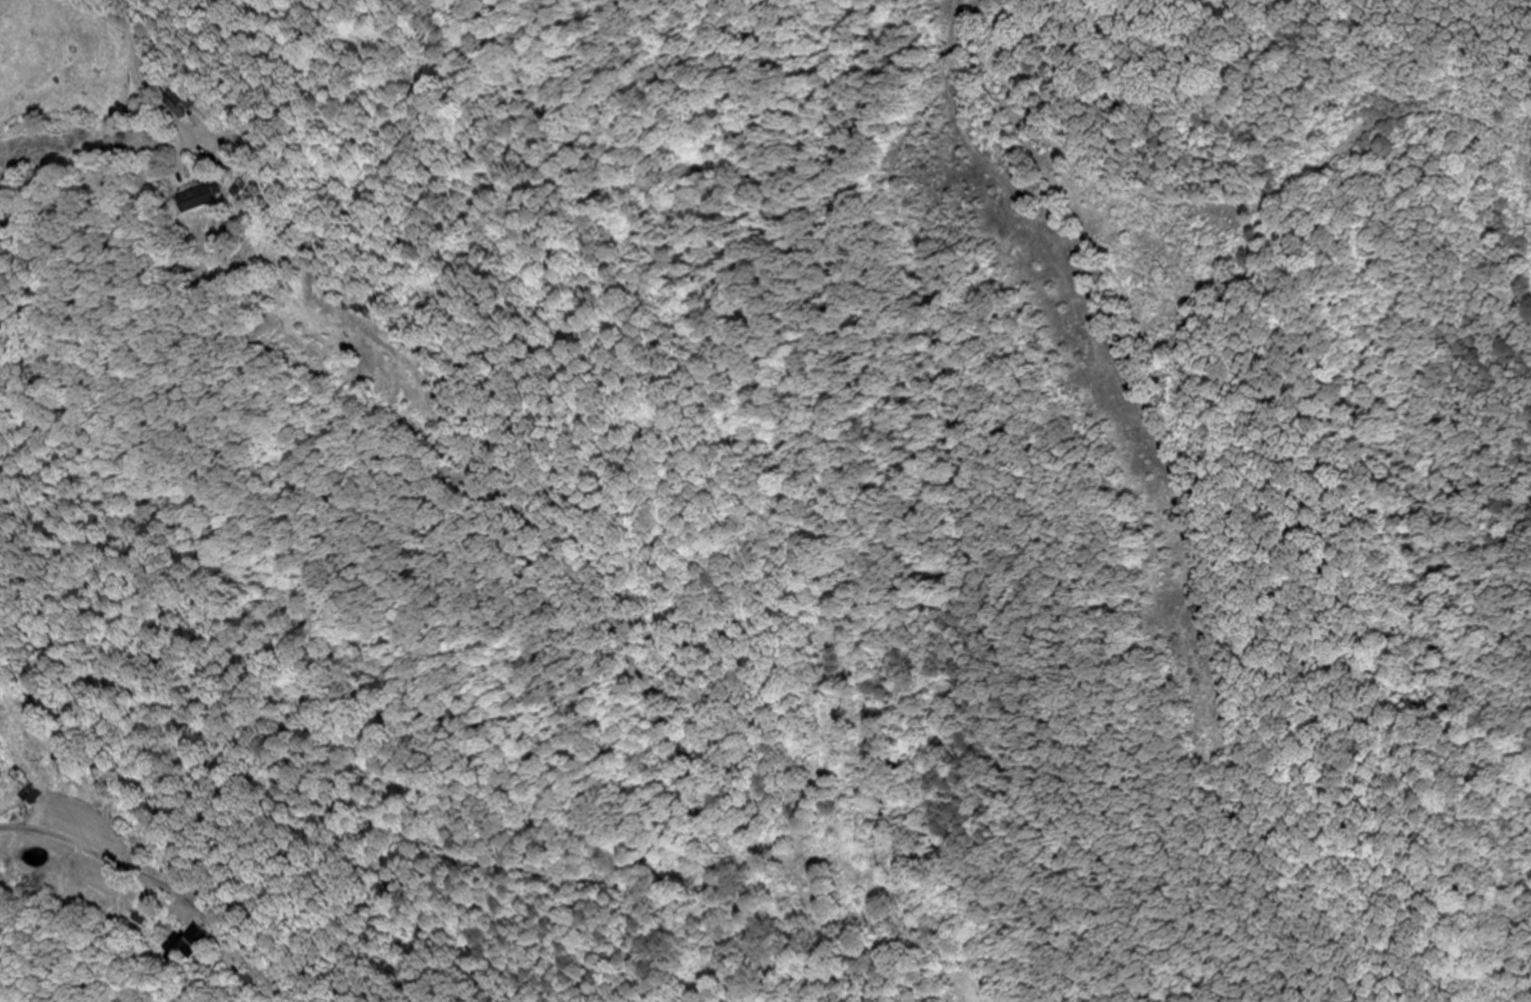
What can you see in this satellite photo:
building: (196, 199)
building: (33, 796)
road: (97, 853)
building: (199, 938)

